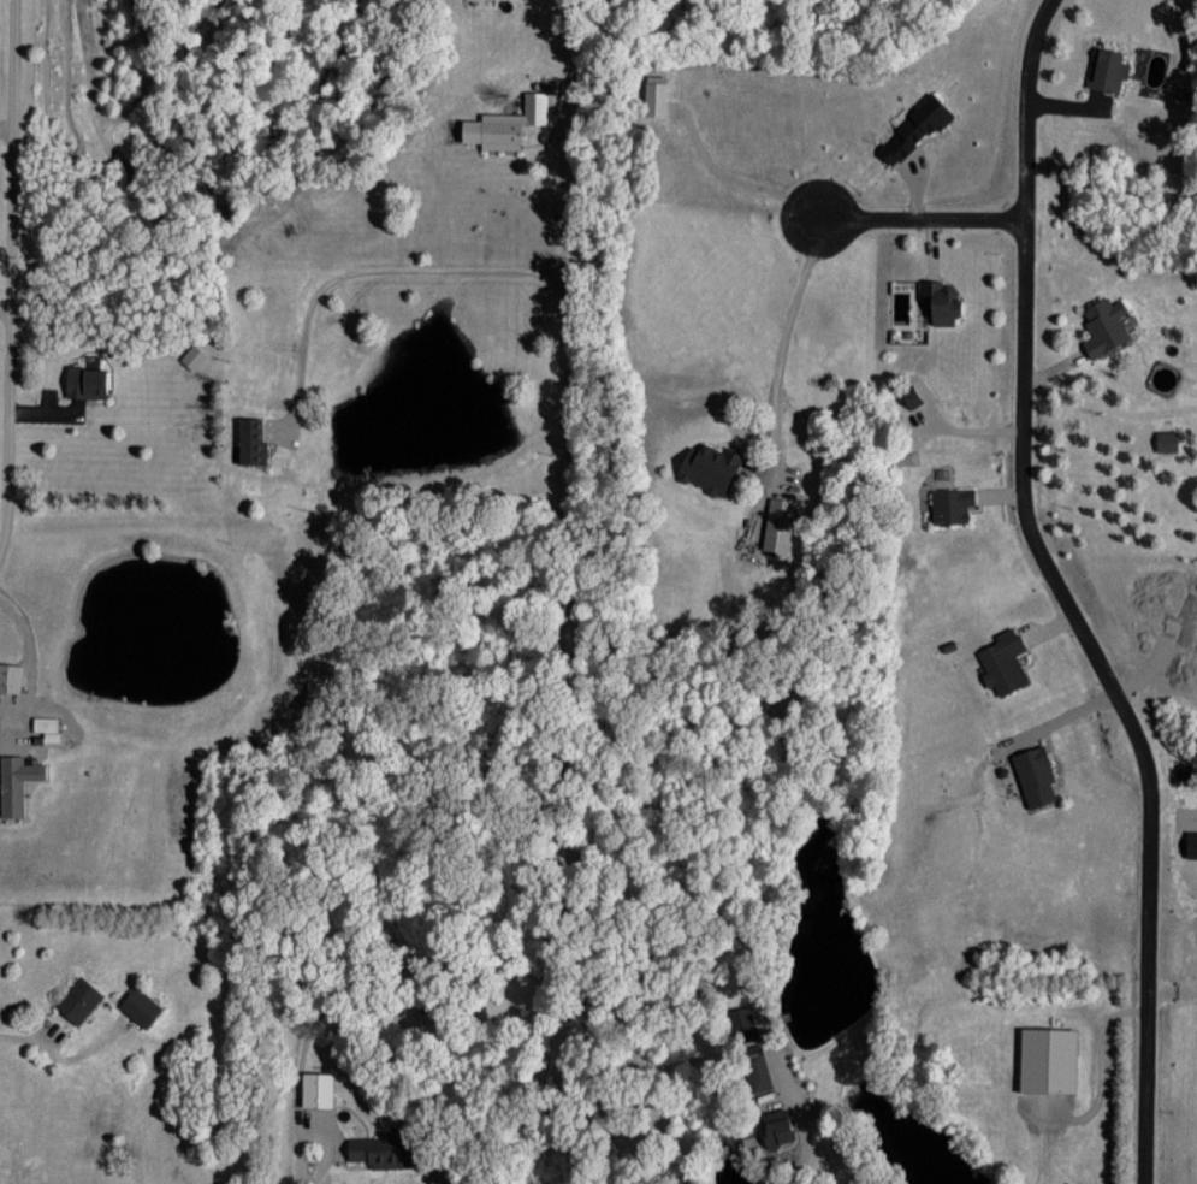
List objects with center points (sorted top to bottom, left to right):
building: (1107, 69)
building: (654, 94)
building: (503, 123)
road: (6, 125)
building: (913, 128)
road: (911, 218)
road: (365, 272)
road: (10, 276)
building: (940, 300)
building: (1103, 324)
road: (781, 347)
building: (192, 356)
building: (84, 380)
building: (911, 396)
building: (250, 439)
building: (1166, 439)
building: (707, 467)
building: (949, 503)
building: (777, 522)
road: (1063, 594)
road: (573, 645)
building: (1002, 662)
building: (8, 676)
building: (46, 726)
building: (1033, 774)
building: (14, 781)
building: (1191, 842)
building: (78, 999)
building: (138, 1005)
building: (742, 1023)
road: (23, 1036)
building: (1047, 1059)
building: (757, 1066)
building: (316, 1088)
building: (776, 1125)
building: (383, 1149)
road: (302, 1162)
road: (792, 1180)

